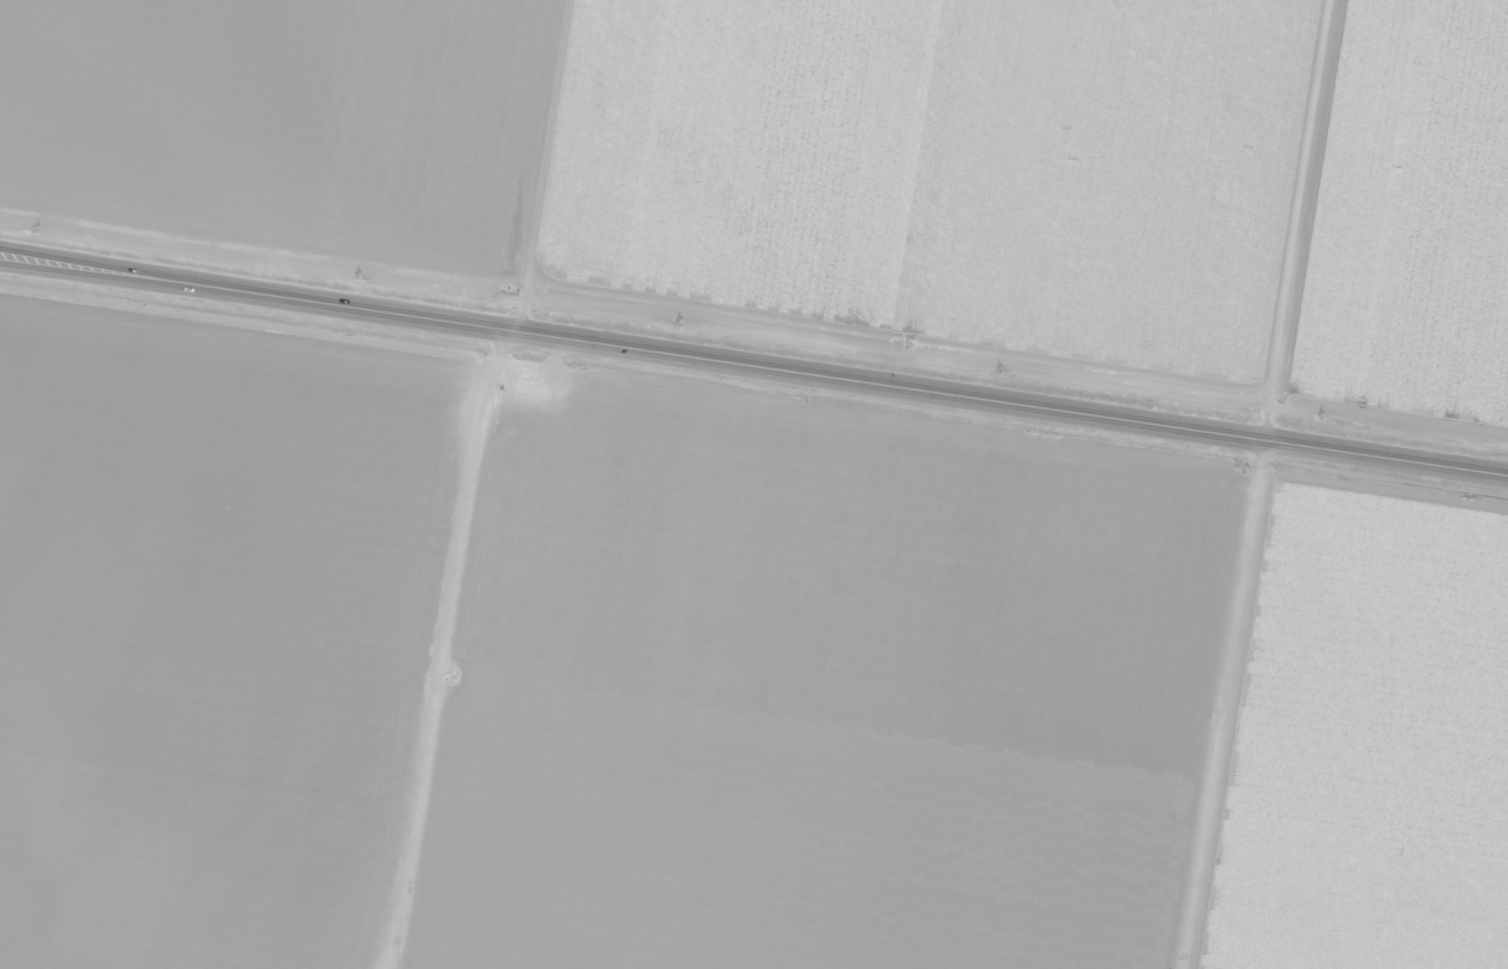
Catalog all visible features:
power tower: (39, 230)
power tower: (361, 275)
power tower: (681, 324)
road: (632, 347)
power tower: (1002, 370)
power tower: (1323, 416)
road: (1386, 457)
road: (1260, 483)

